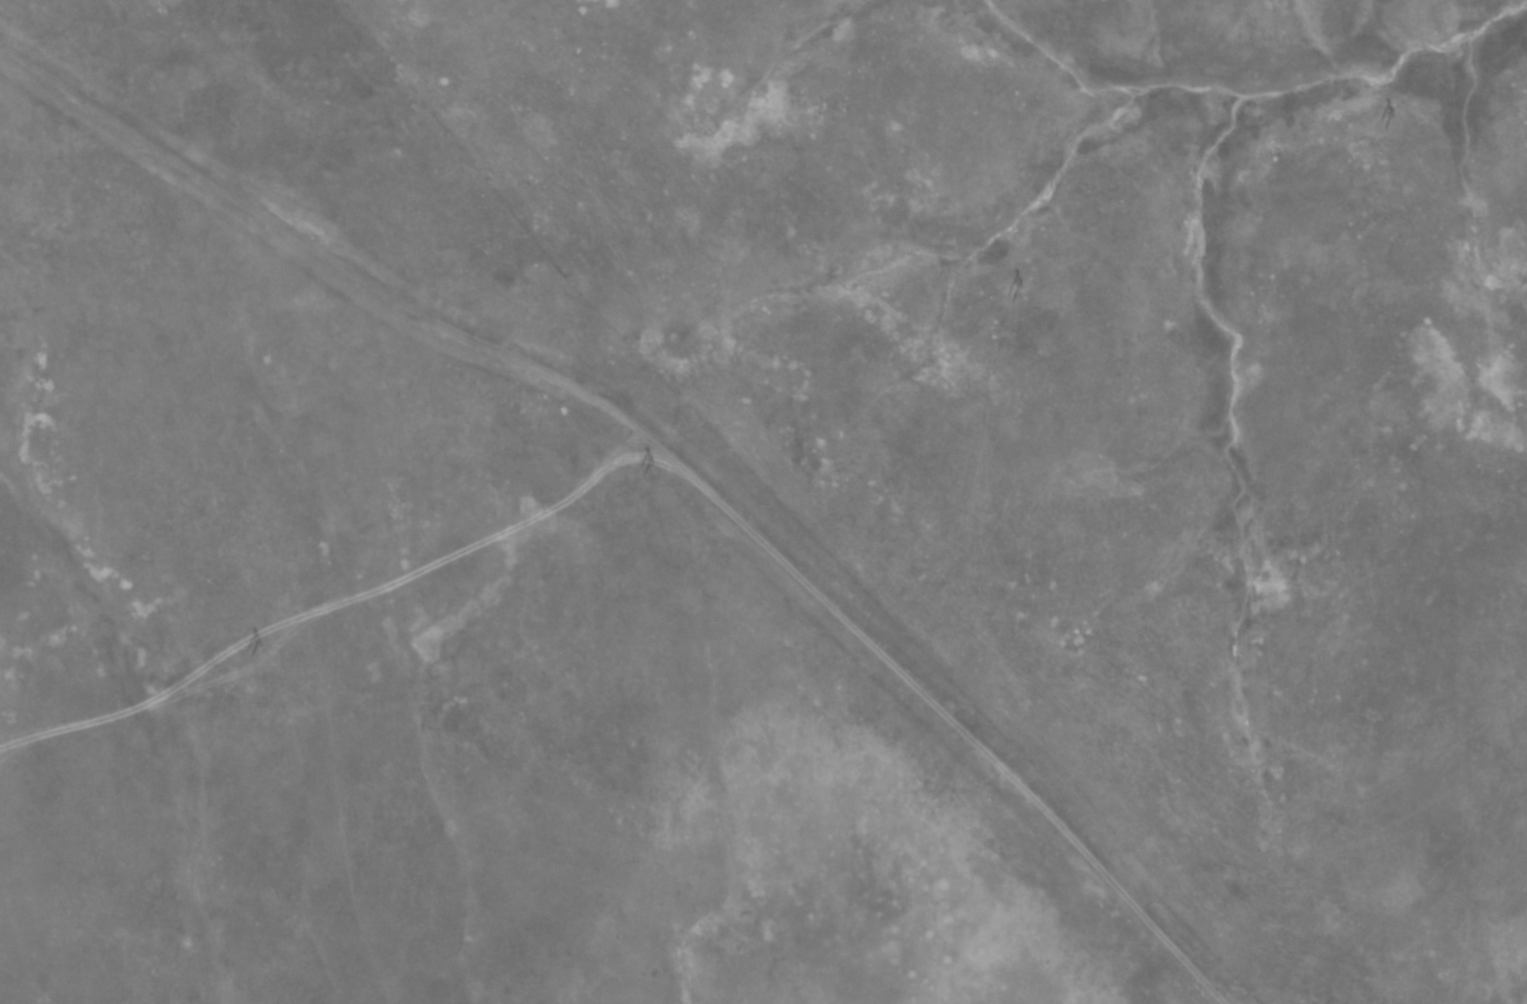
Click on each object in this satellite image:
power tower: (1379, 125)
power tower: (1007, 298)
power tower: (638, 469)
road: (656, 476)
power tower: (246, 652)

